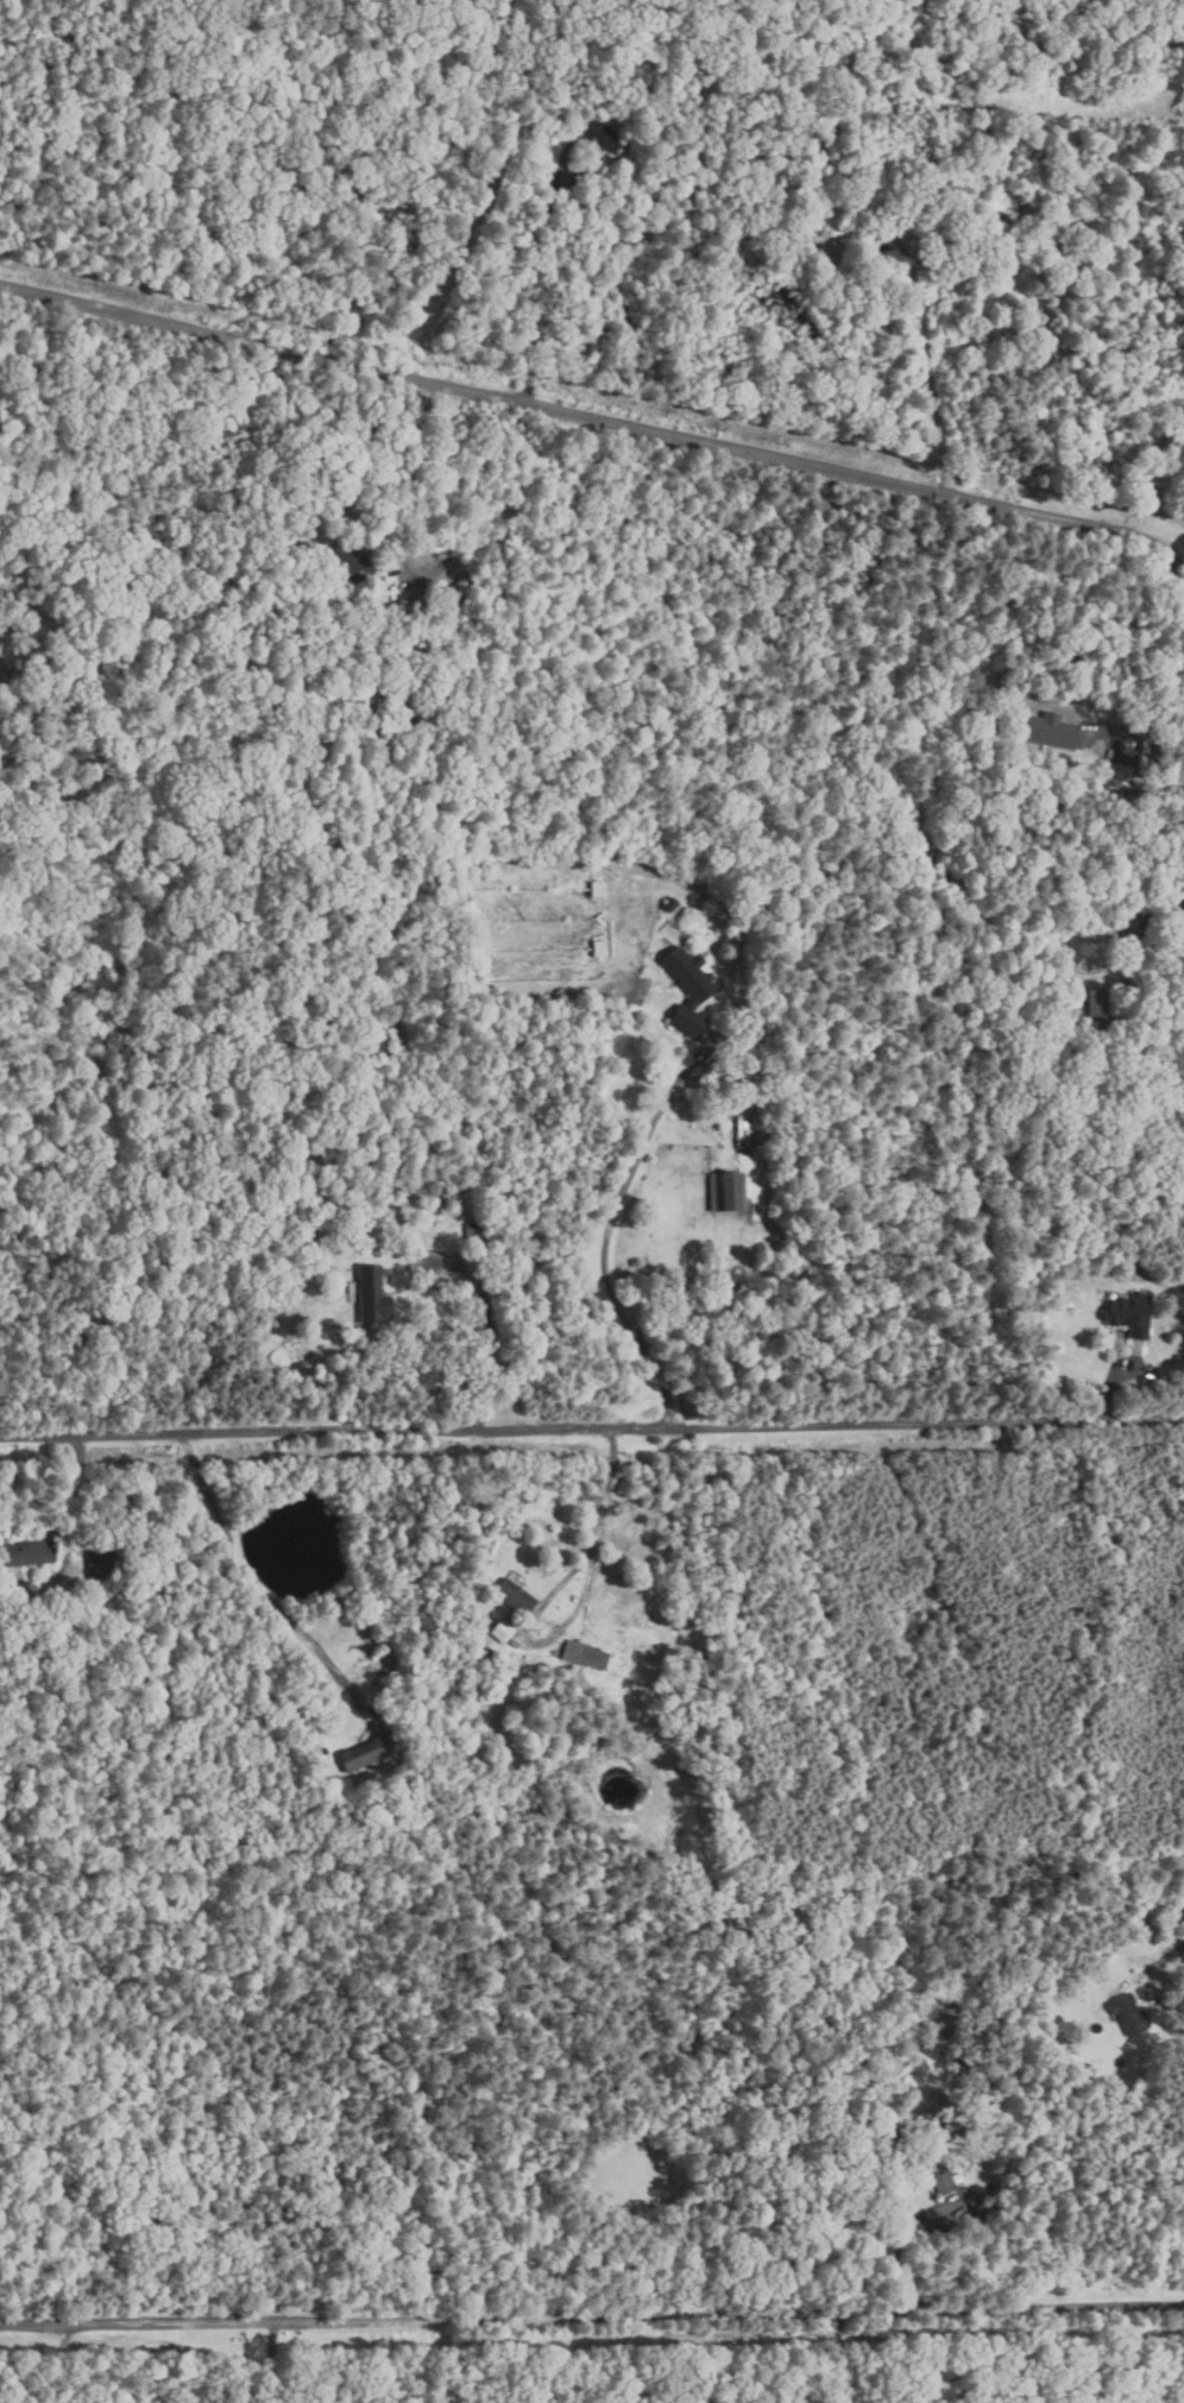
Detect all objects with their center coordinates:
building: (605, 95)
building: (591, 103)
building: (621, 112)
building: (603, 137)
building: (945, 181)
building: (957, 213)
building: (1082, 226)
building: (831, 246)
building: (1026, 247)
building: (937, 271)
road: (534, 278)
road: (931, 364)
road: (597, 420)
road: (418, 463)
road: (1151, 471)
building: (348, 563)
building: (464, 587)
building: (452, 593)
building: (1050, 731)
road: (1136, 731)
building: (1116, 775)
building: (947, 876)
building: (597, 889)
building: (670, 904)
road: (1148, 914)
building: (1100, 935)
building: (599, 948)
building: (1046, 979)
building: (689, 992)
building: (1102, 1010)
building: (755, 1131)
building: (729, 1192)
building: (473, 1231)
road: (604, 1256)
building: (372, 1295)
building: (1132, 1314)
road: (490, 1349)
road: (592, 1425)
road: (76, 1489)
road: (599, 1518)
building: (29, 1554)
building: (102, 1562)
road: (258, 1585)
building: (516, 1597)
building: (503, 1632)
building: (586, 1655)
building: (508, 1657)
building: (414, 1709)
building: (364, 1754)
road: (1163, 1960)
building: (1131, 2013)
building: (1096, 2074)
building: (902, 2127)
building: (941, 2178)
building: (982, 2206)
building: (852, 2218)
building: (962, 2220)
road: (901, 2241)
road: (592, 2321)
road: (271, 2363)

